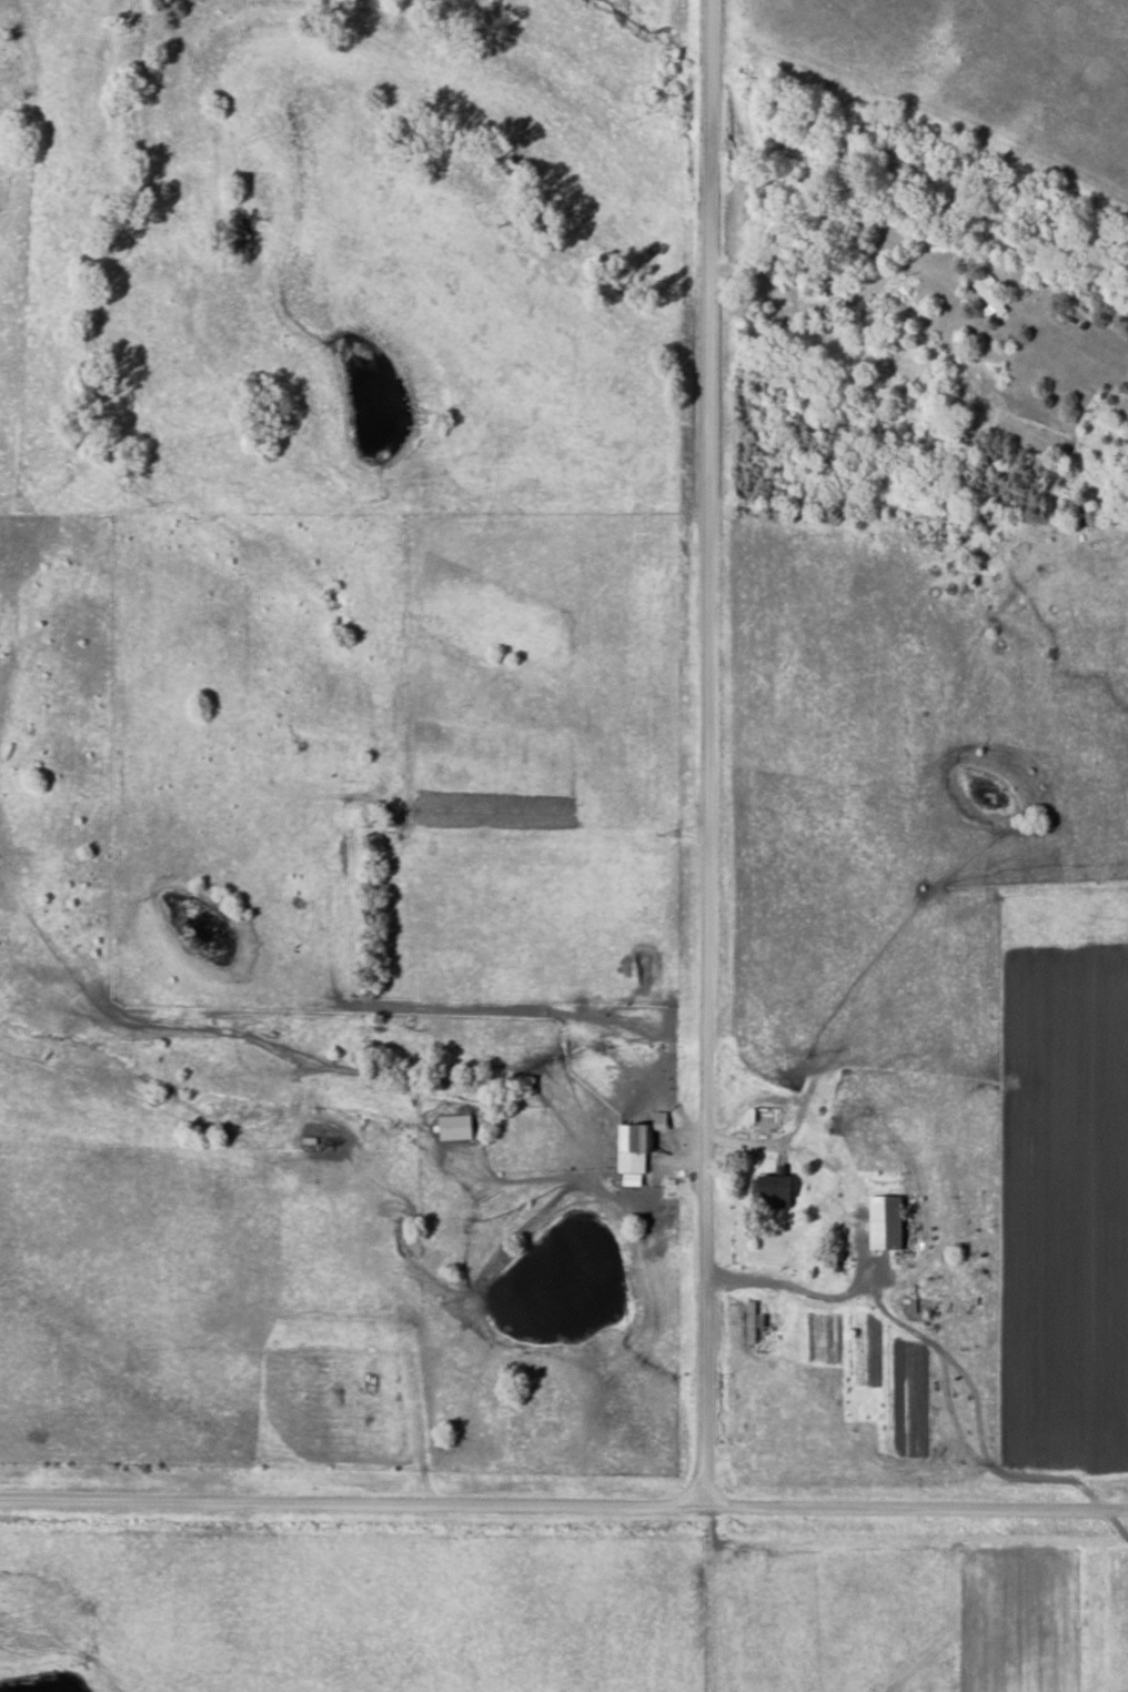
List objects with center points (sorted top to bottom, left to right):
building: (984, 294)
road: (822, 310)
road: (707, 754)
building: (655, 1120)
building: (630, 1148)
building: (765, 1187)
building: (882, 1222)
building: (747, 1321)
road: (563, 1508)

